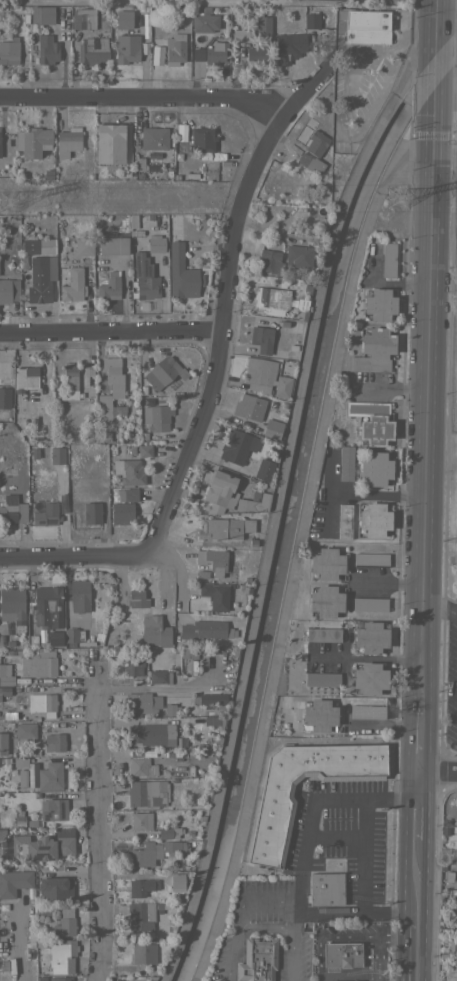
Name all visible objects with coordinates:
park: (198, 1)
parking lot: (388, 1)
building: (42, 14)
building: (83, 18)
road: (447, 18)
building: (123, 19)
building: (311, 20)
building: (204, 22)
road: (437, 24)
building: (262, 25)
building: (361, 25)
building: (240, 35)
building: (288, 46)
building: (126, 48)
building: (173, 49)
building: (8, 50)
building: (46, 50)
building: (92, 50)
building: (215, 52)
building: (256, 53)
building: (197, 54)
road: (436, 77)
road: (446, 77)
road: (143, 98)
road: (354, 133)
building: (153, 138)
building: (201, 139)
building: (32, 141)
building: (67, 141)
building: (109, 142)
building: (316, 144)
road: (435, 157)
building: (307, 164)
road: (446, 173)
power tower: (396, 203)
power tower: (10, 204)
building: (156, 243)
building: (38, 245)
building: (113, 245)
building: (84, 246)
building: (299, 256)
building: (389, 259)
building: (271, 261)
building: (182, 273)
building: (41, 277)
building: (145, 278)
building: (73, 285)
building: (109, 286)
building: (9, 289)
building: (270, 300)
road: (222, 303)
building: (379, 303)
road: (110, 333)
building: (261, 338)
building: (373, 351)
building: (4, 371)
building: (163, 372)
building: (260, 373)
building: (113, 376)
building: (25, 378)
building: (69, 381)
building: (81, 383)
building: (282, 386)
building: (5, 397)
building: (106, 407)
building: (249, 407)
building: (156, 417)
building: (373, 422)
building: (272, 428)
building: (237, 445)
building: (145, 450)
building: (57, 455)
road: (426, 459)
building: (345, 462)
building: (264, 468)
building: (375, 468)
building: (132, 472)
building: (220, 488)
road: (357, 491)
building: (128, 494)
road: (272, 499)
building: (253, 503)
building: (13, 510)
building: (92, 513)
building: (122, 513)
building: (46, 514)
building: (374, 519)
building: (344, 520)
building: (224, 528)
road: (295, 546)
road: (74, 557)
building: (371, 559)
building: (213, 560)
building: (326, 563)
road: (388, 582)
building: (79, 595)
building: (215, 596)
building: (136, 598)
building: (325, 601)
building: (12, 603)
building: (369, 604)
building: (45, 606)
road: (439, 610)
building: (204, 629)
building: (155, 631)
building: (323, 634)
building: (71, 636)
building: (371, 637)
building: (54, 638)
building: (32, 641)
building: (84, 643)
road: (365, 658)
building: (38, 662)
building: (133, 666)
building: (6, 674)
building: (159, 676)
building: (369, 678)
building: (322, 679)
road: (145, 687)
building: (5, 690)
building: (209, 699)
building: (143, 702)
building: (42, 703)
building: (367, 711)
building: (319, 715)
building: (25, 730)
building: (151, 734)
road: (418, 739)
building: (53, 742)
building: (3, 743)
building: (19, 761)
building: (141, 767)
road: (437, 769)
building: (50, 776)
building: (21, 778)
building: (148, 793)
road: (313, 798)
building: (53, 809)
road: (415, 809)
building: (18, 818)
building: (140, 820)
road: (93, 821)
building: (30, 824)
building: (271, 831)
building: (167, 833)
building: (44, 845)
building: (153, 851)
road: (364, 855)
building: (14, 881)
road: (414, 881)
building: (176, 883)
building: (142, 886)
building: (55, 887)
building: (325, 888)
building: (44, 909)
road: (349, 913)
road: (237, 914)
building: (140, 915)
road: (413, 918)
building: (65, 923)
building: (157, 923)
road: (289, 926)
road: (376, 940)
building: (453, 948)
road: (412, 952)
building: (143, 953)
building: (342, 954)
building: (61, 955)
building: (257, 960)
building: (62, 978)
building: (119, 980)
building: (122, 980)
road: (391, 980)

